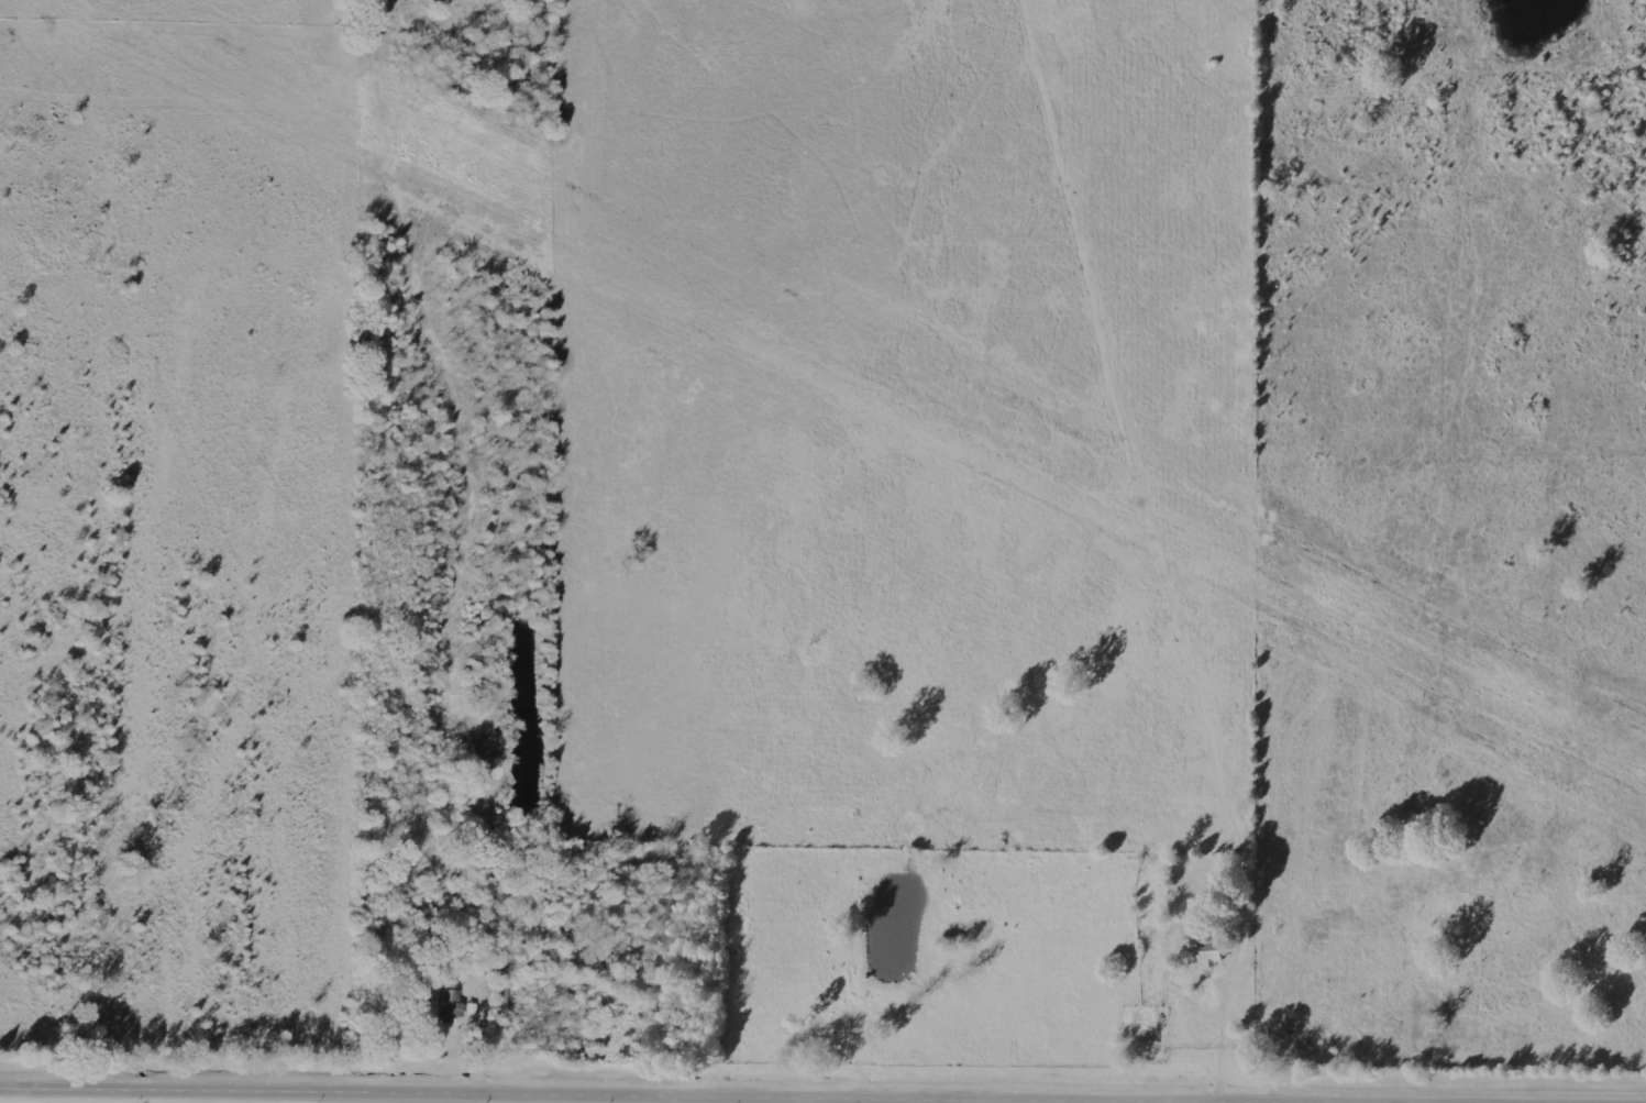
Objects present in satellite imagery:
road: (407, 1099)

